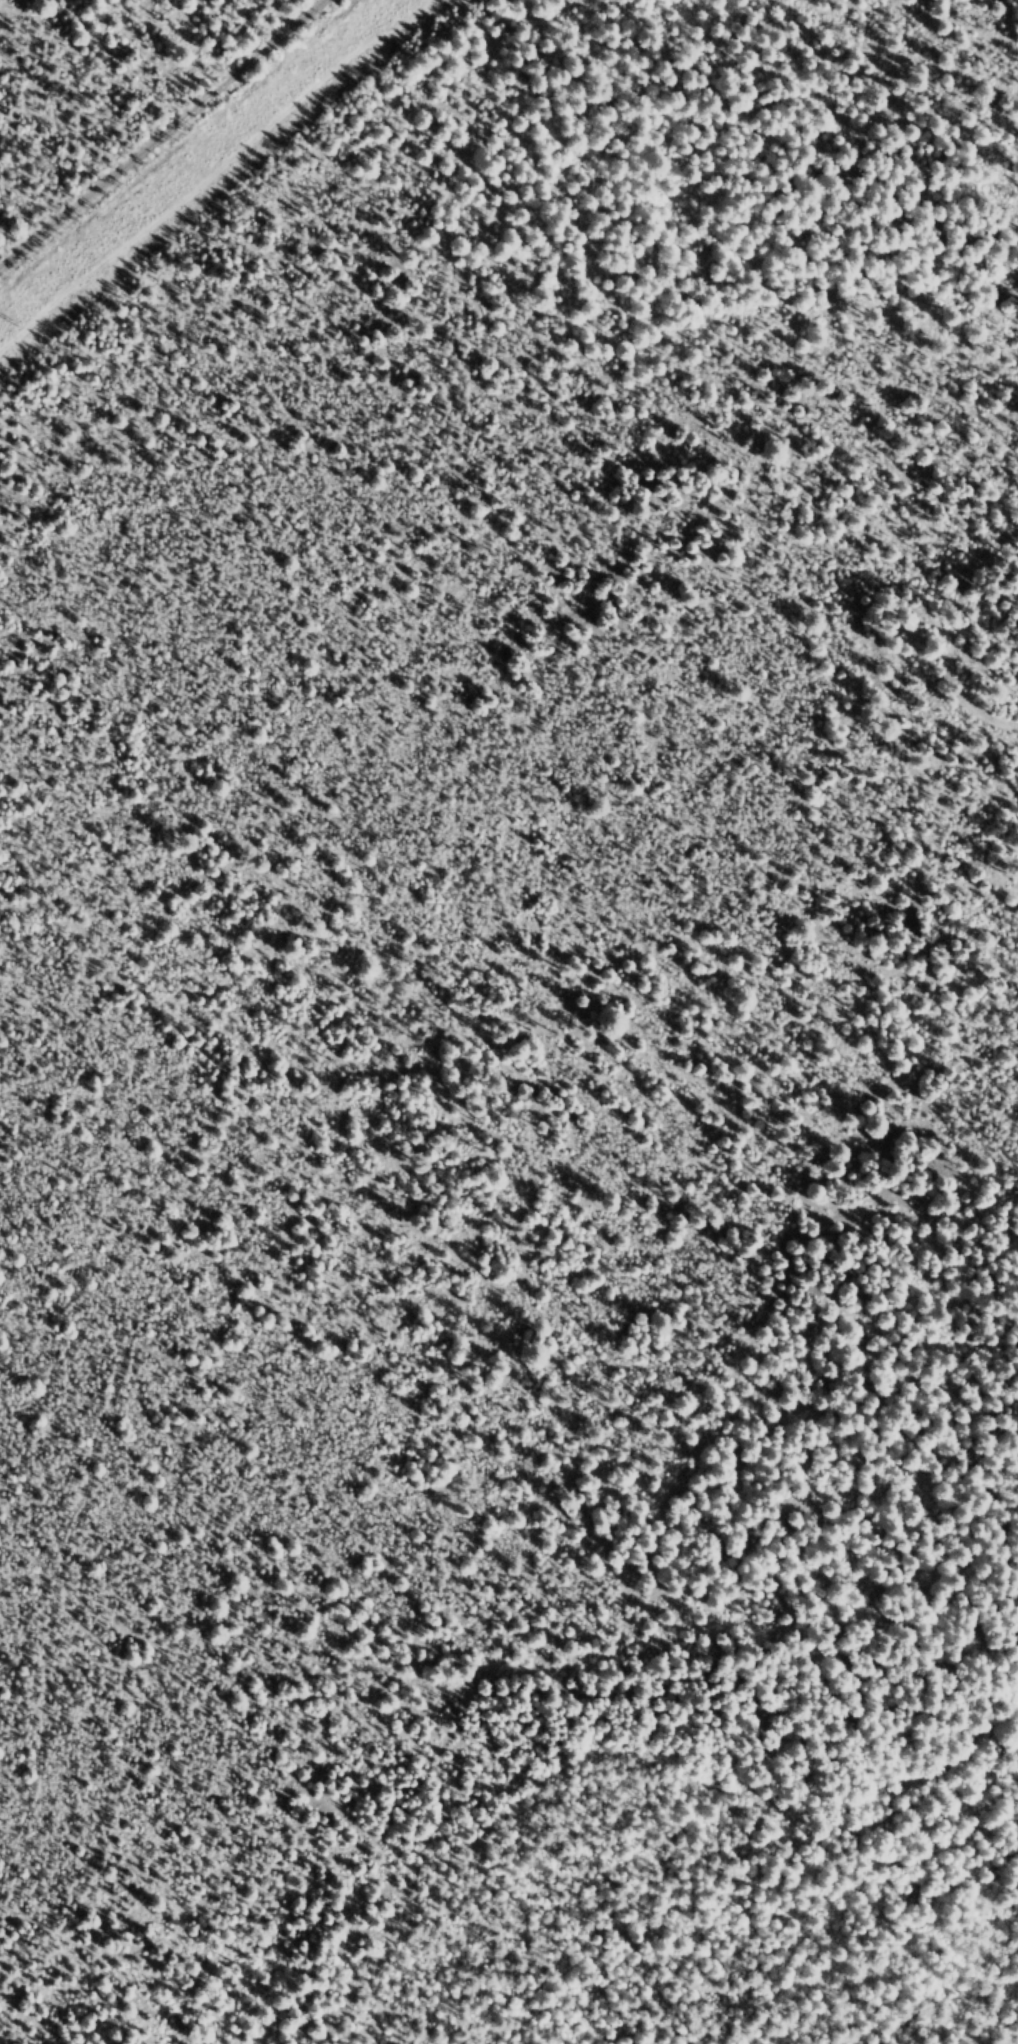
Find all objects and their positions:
road: (166, 136)
road: (202, 169)

